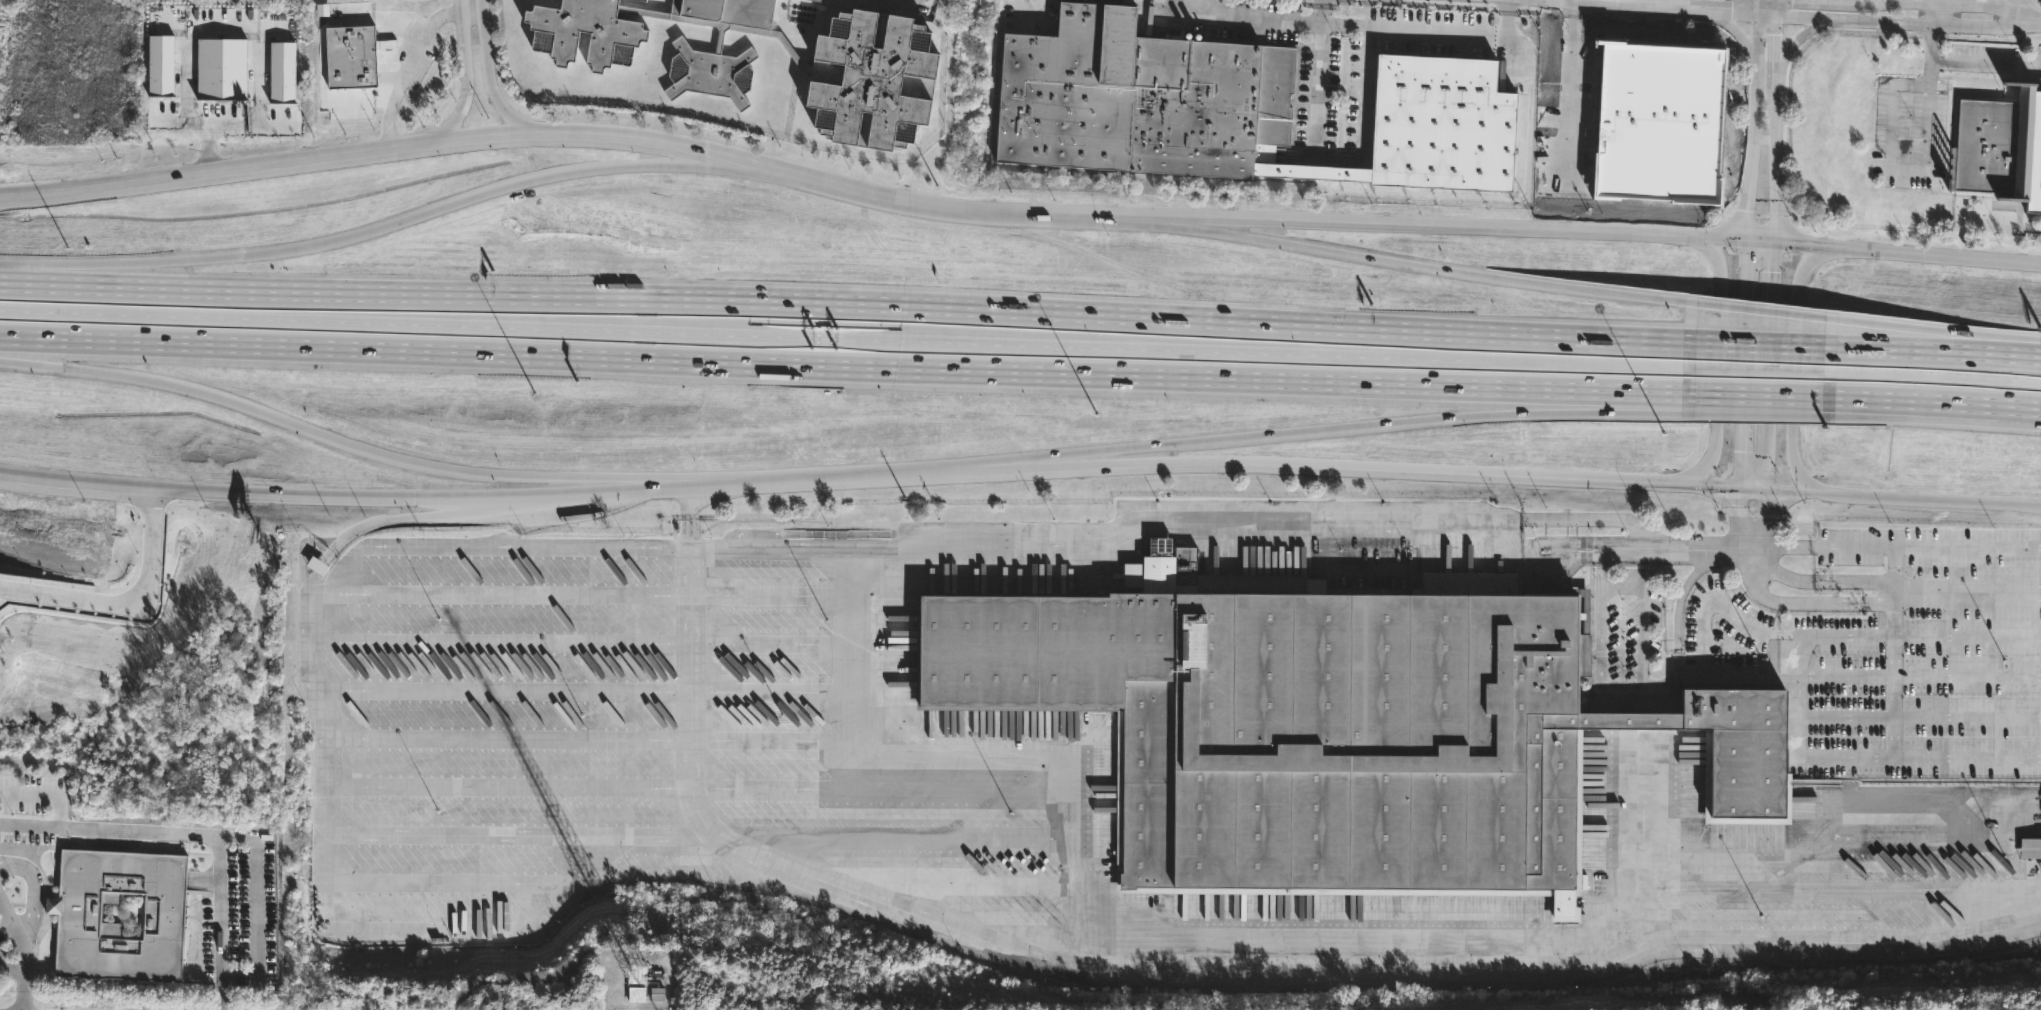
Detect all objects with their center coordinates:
building: (822, 0)
road: (899, 0)
road: (1962, 3)
building: (161, 4)
road: (1774, 6)
road: (1670, 8)
road: (2023, 9)
road: (1320, 11)
road: (1934, 13)
road: (1255, 16)
road: (2032, 19)
road: (1899, 22)
road: (1735, 29)
road: (1456, 38)
road: (1804, 38)
building: (350, 55)
road: (1966, 63)
road: (481, 67)
building: (869, 78)
road: (185, 92)
building: (1233, 106)
road: (1754, 120)
road: (246, 122)
road: (581, 134)
building: (2000, 146)
road: (692, 159)
road: (1359, 163)
road: (1899, 165)
road: (1194, 226)
road: (1452, 228)
road: (367, 232)
traffic signals: (1746, 241)
road: (1760, 242)
traffic signals: (1775, 243)
road: (1813, 246)
road: (1774, 251)
road: (1946, 255)
road: (31, 270)
road: (1460, 271)
road: (845, 302)
road: (1757, 309)
road: (1891, 334)
toll booth: (827, 339)
road: (845, 339)
road: (1756, 344)
road: (1891, 349)
road: (2001, 354)
road: (5, 360)
road: (1743, 365)
road: (844, 366)
road: (1755, 369)
road: (1718, 374)
building: (1871, 375)
road: (1930, 376)
road: (1798, 377)
road: (1755, 395)
road: (1930, 402)
road: (1755, 405)
road: (285, 418)
road: (1383, 423)
road: (1043, 460)
road: (1327, 467)
road: (847, 476)
road: (604, 480)
road: (1704, 486)
traffic signals: (1740, 489)
traffic signals: (1764, 491)
road: (342, 498)
road: (1902, 499)
road: (687, 501)
road: (415, 518)
road: (1739, 518)
road: (1580, 519)
road: (1762, 520)
road: (696, 529)
road: (685, 531)
road: (1514, 537)
road: (1545, 543)
road: (515, 545)
road: (1692, 547)
road: (1895, 549)
road: (692, 552)
road: (1753, 559)
road: (318, 569)
road: (1823, 581)
road: (1813, 603)
road: (132, 607)
road: (1677, 609)
road: (1642, 619)
road: (1702, 630)
road: (1827, 636)
road: (1967, 636)
road: (1893, 653)
road: (1844, 676)
road: (1967, 677)
road: (1599, 682)
building: (1333, 731)
road: (1877, 758)
road: (957, 769)
road: (45, 791)
road: (395, 833)
road: (196, 834)
road: (1621, 849)
building: (2031, 849)
road: (0, 865)
road: (14, 867)
road: (826, 881)
road: (33, 902)
road: (256, 907)
building: (80, 915)
road: (8, 916)
road: (8, 931)
road: (8, 965)
road: (17, 971)
building: (637, 996)

